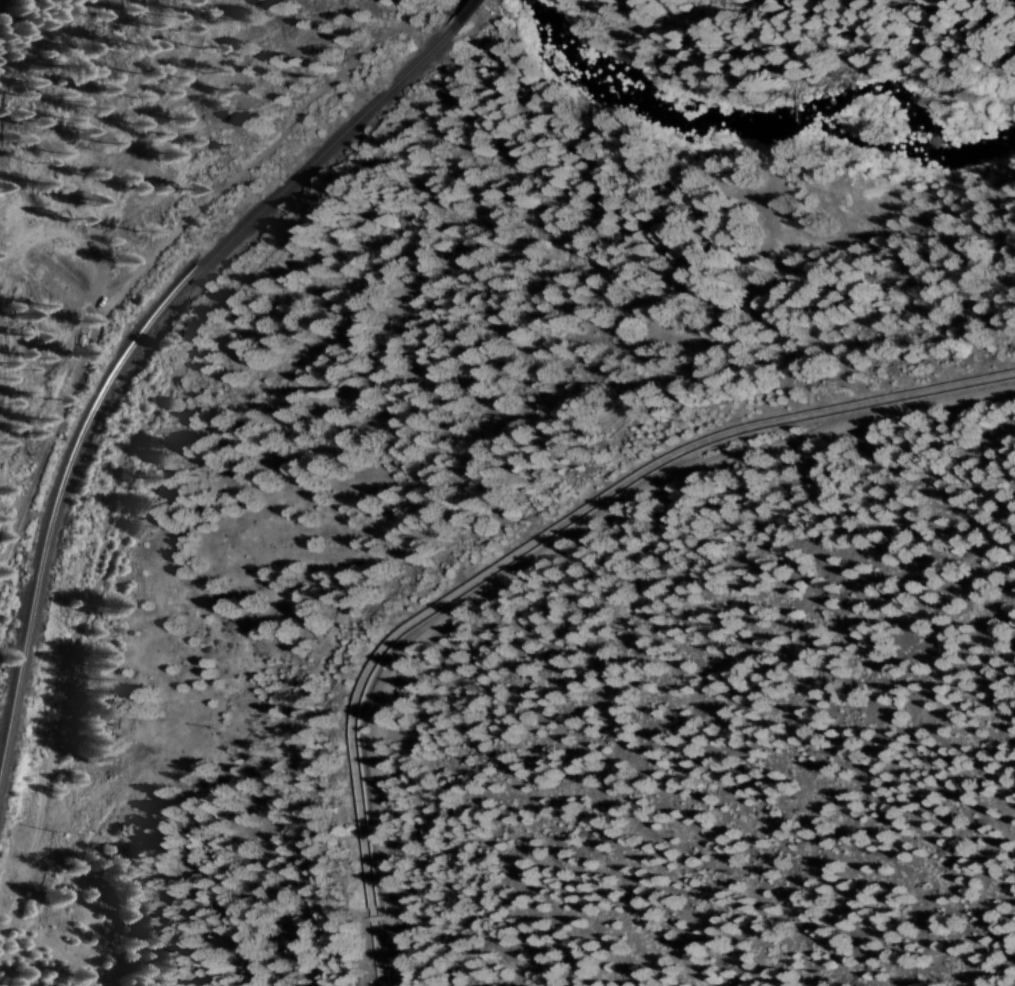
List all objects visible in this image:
railway: (463, 12)
railway: (129, 355)
road: (585, 585)

